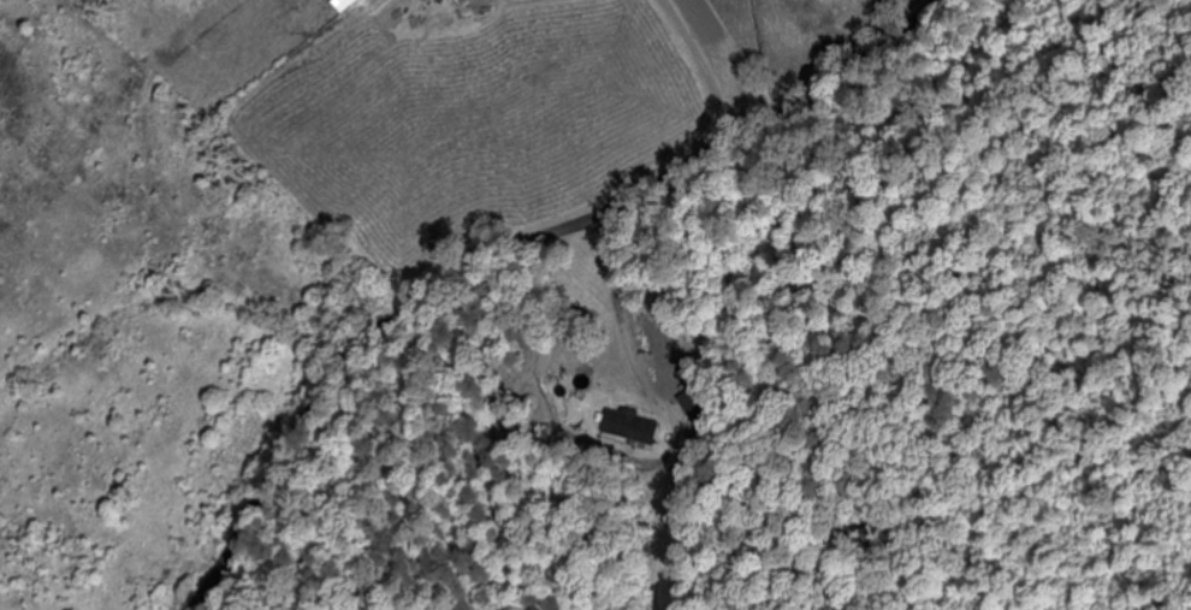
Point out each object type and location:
building: (343, 4)
road: (505, 248)
building: (694, 405)

